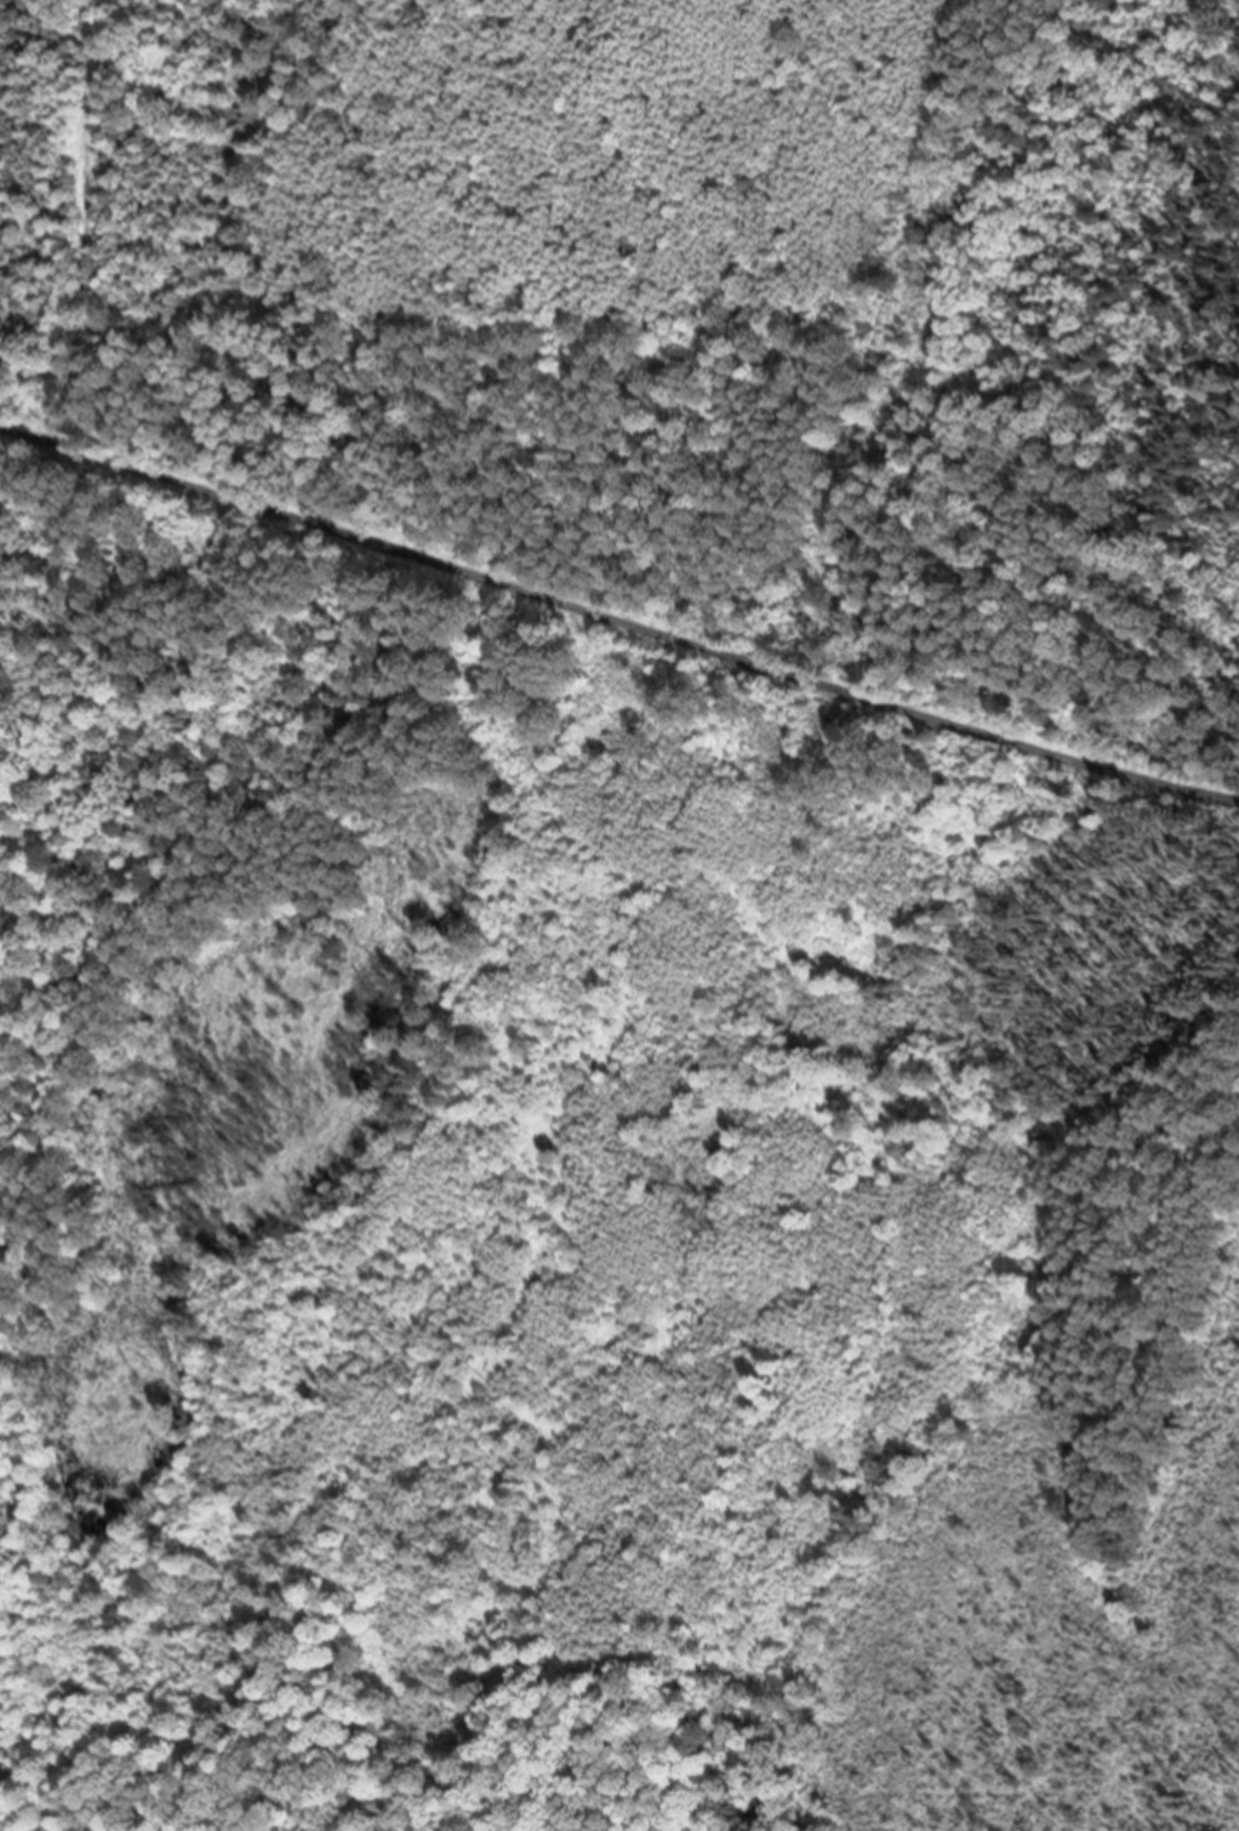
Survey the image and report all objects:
road: (81, 226)
road: (617, 620)

